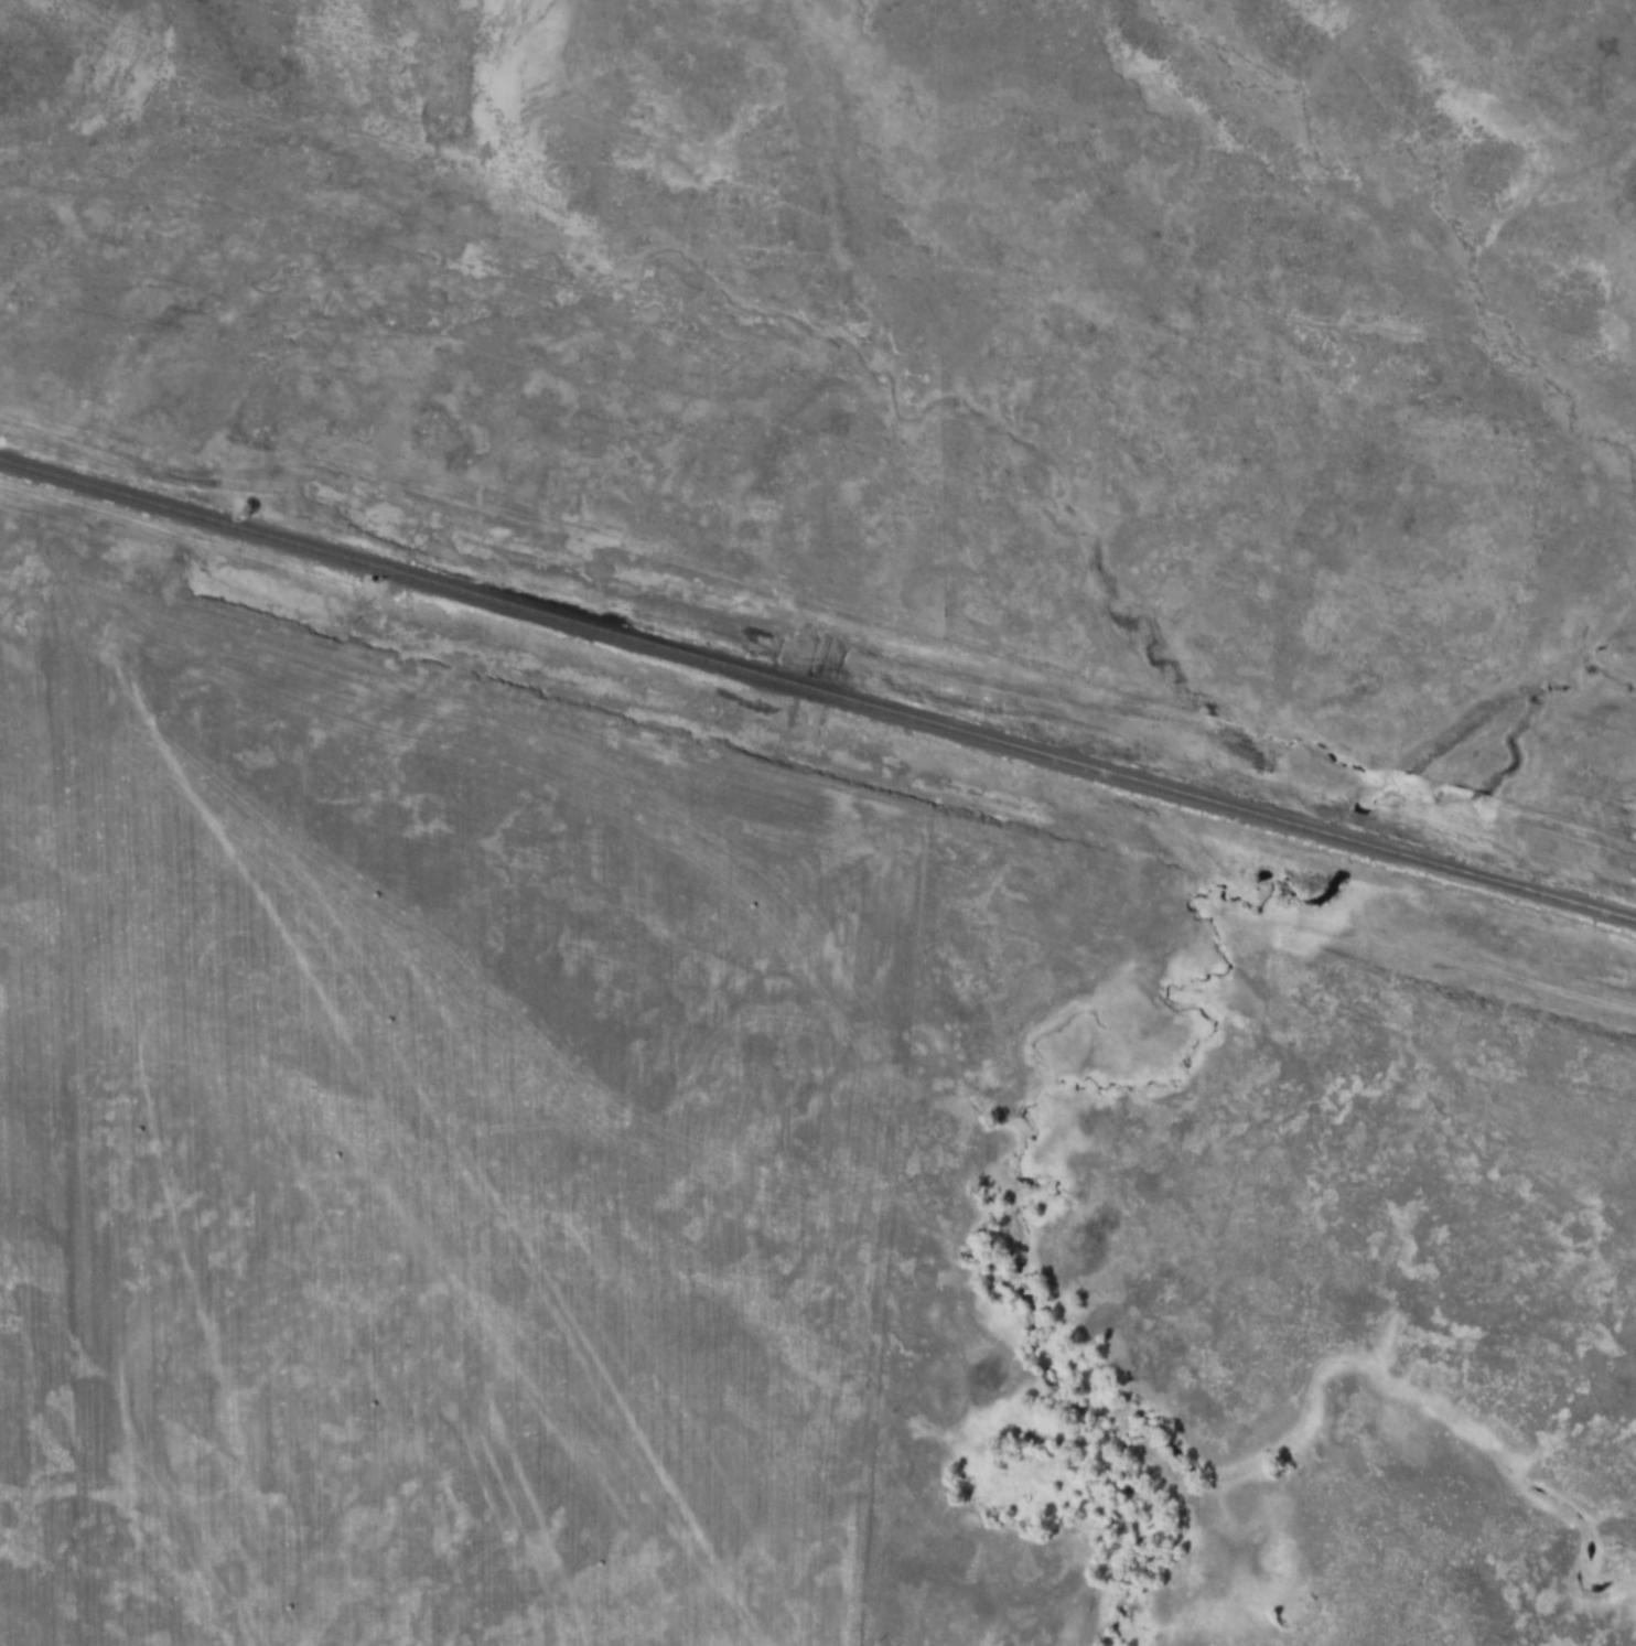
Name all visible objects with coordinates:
railway: (817, 710)

